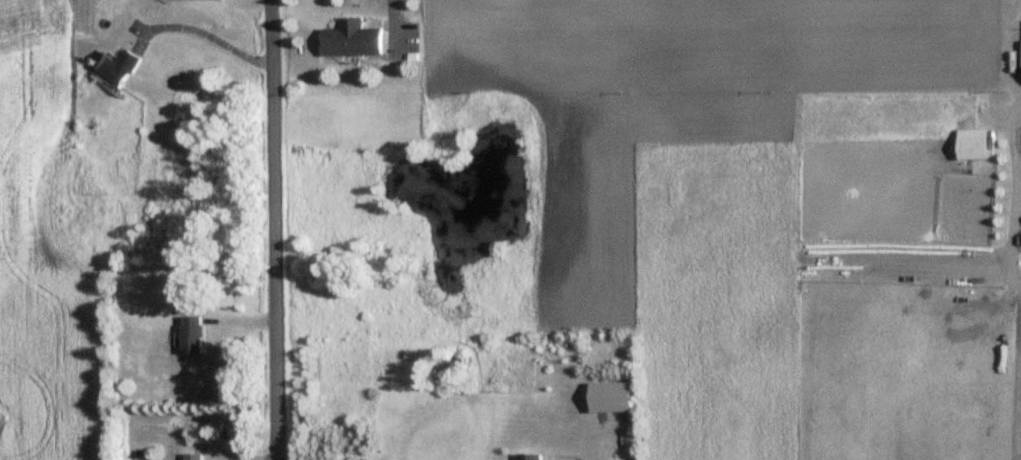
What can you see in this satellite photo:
road: (208, 36)
building: (350, 37)
building: (113, 66)
road: (276, 230)
building: (190, 334)
building: (192, 456)
building: (526, 456)

